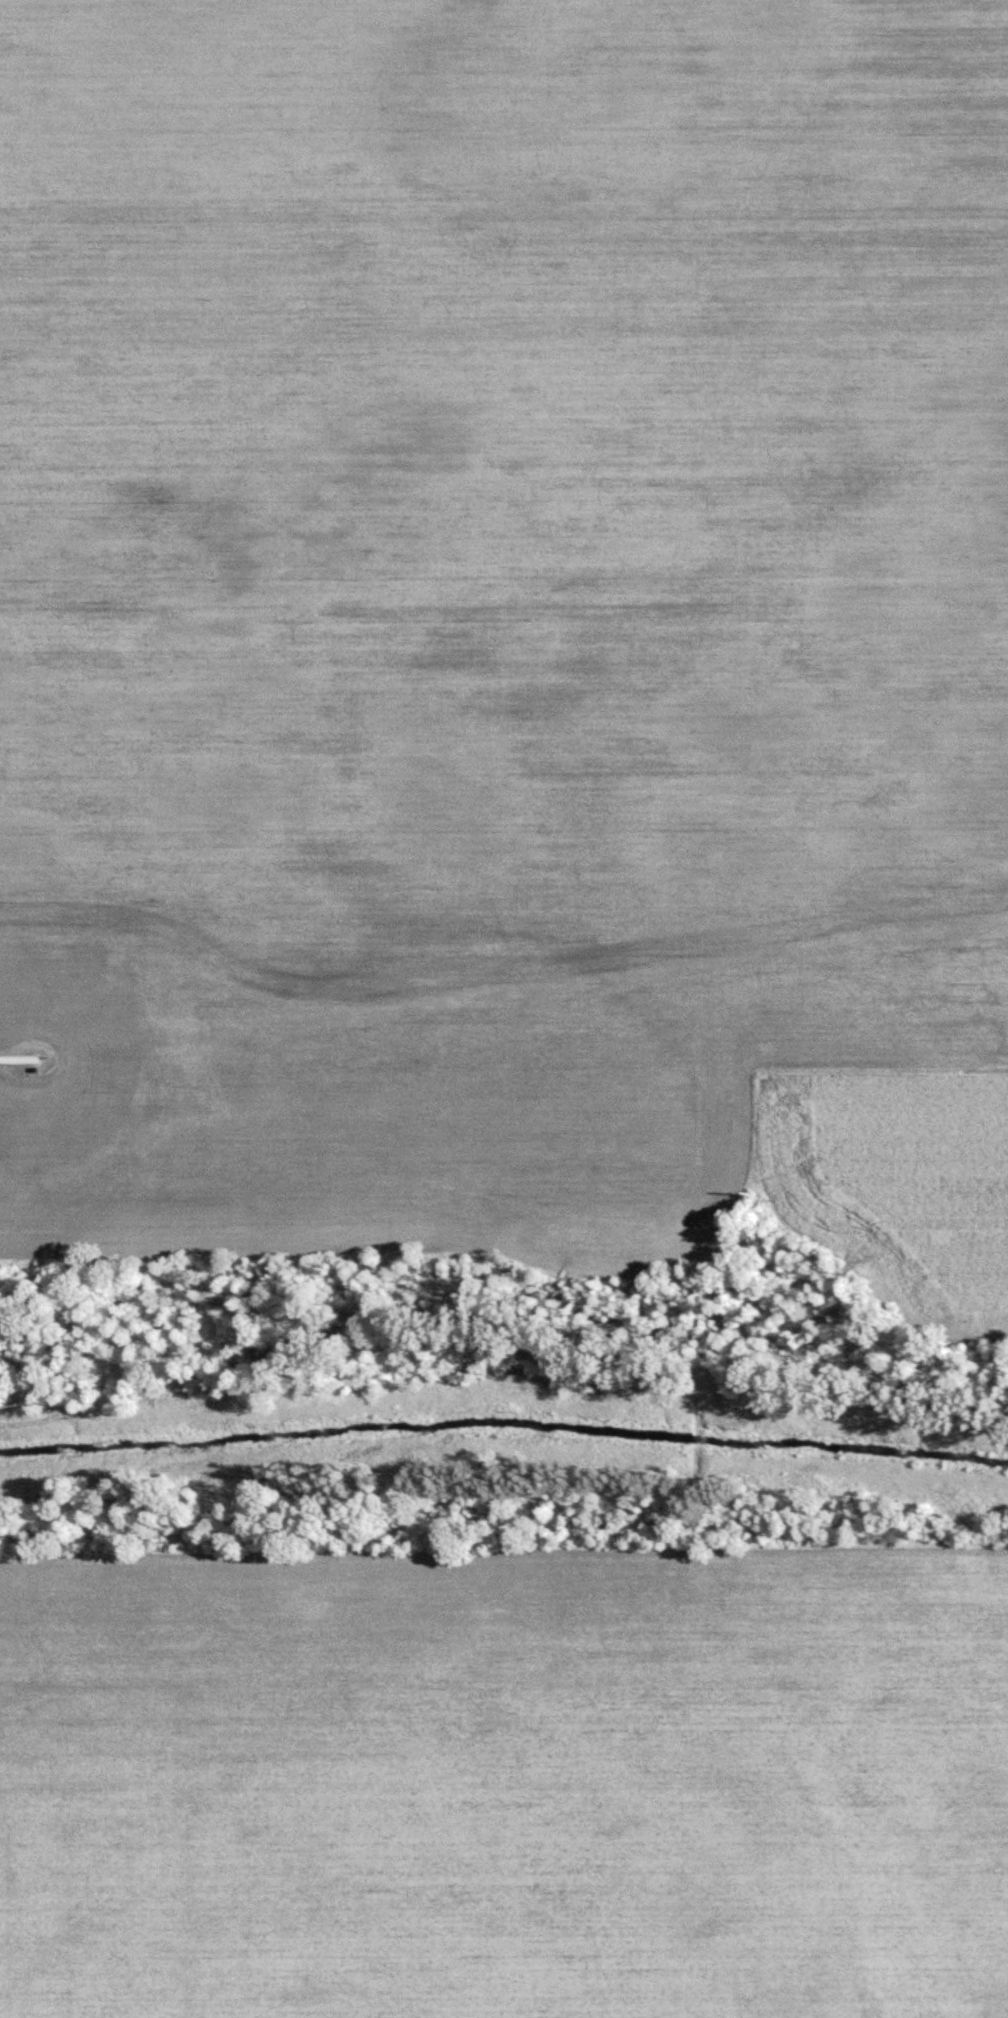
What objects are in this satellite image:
wind turbine: (37, 1062)

